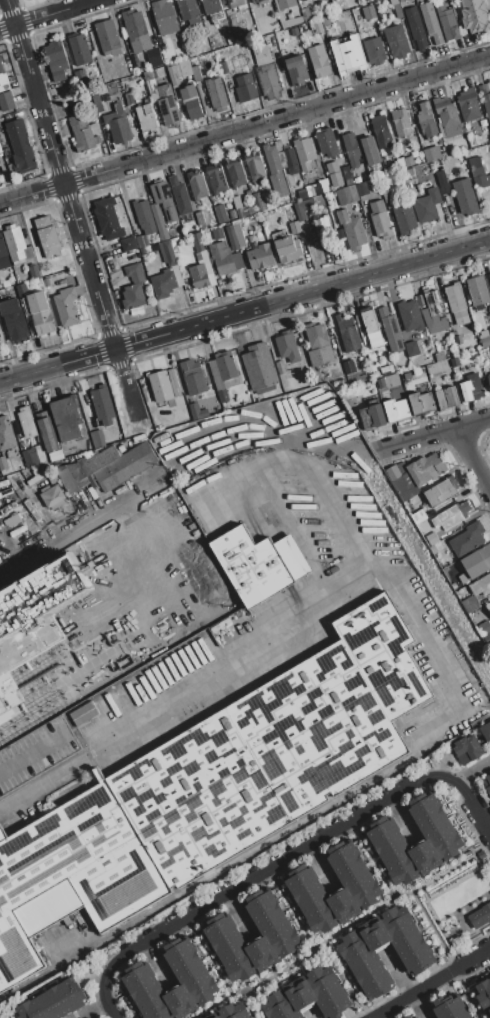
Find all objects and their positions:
building: (300, 0)
building: (304, 0)
building: (367, 0)
building: (402, 0)
building: (256, 1)
building: (393, 2)
building: (236, 3)
building: (286, 4)
building: (213, 9)
building: (188, 11)
building: (397, 11)
building: (368, 12)
building: (309, 15)
building: (475, 15)
road: (52, 16)
building: (166, 21)
building: (294, 21)
building: (430, 22)
building: (448, 23)
building: (312, 28)
building: (416, 28)
building: (136, 31)
building: (238, 36)
building: (108, 37)
building: (230, 40)
building: (397, 41)
building: (95, 43)
building: (80, 49)
building: (375, 50)
building: (262, 54)
building: (347, 55)
building: (155, 57)
building: (57, 60)
building: (318, 61)
building: (186, 65)
building: (223, 68)
building: (296, 70)
building: (196, 73)
building: (148, 75)
building: (173, 75)
building: (3, 76)
building: (269, 80)
building: (4, 87)
building: (245, 88)
building: (216, 93)
building: (485, 99)
building: (6, 101)
building: (191, 101)
building: (97, 103)
building: (168, 105)
building: (469, 105)
building: (446, 111)
building: (145, 118)
building: (426, 120)
building: (400, 122)
building: (118, 125)
road: (244, 130)
building: (381, 131)
building: (83, 132)
building: (327, 143)
building: (278, 145)
building: (21, 146)
building: (351, 148)
building: (370, 150)
building: (0, 151)
building: (6, 153)
building: (305, 153)
building: (431, 153)
building: (272, 159)
building: (291, 161)
building: (409, 161)
building: (255, 166)
building: (235, 172)
building: (478, 173)
building: (334, 174)
building: (217, 178)
building: (443, 184)
building: (197, 185)
building: (362, 188)
building: (346, 194)
building: (180, 195)
building: (465, 196)
building: (236, 202)
building: (427, 205)
road: (72, 208)
building: (300, 210)
building: (170, 212)
building: (221, 213)
building: (232, 214)
building: (144, 215)
building: (404, 217)
building: (108, 218)
building: (200, 218)
building: (380, 219)
building: (322, 226)
building: (294, 227)
building: (352, 229)
building: (239, 235)
building: (47, 236)
building: (197, 237)
building: (217, 237)
building: (231, 237)
building: (141, 241)
building: (128, 244)
building: (17, 245)
building: (287, 247)
building: (167, 252)
building: (3, 256)
building: (261, 256)
building: (224, 259)
building: (33, 272)
building: (199, 275)
building: (489, 276)
building: (163, 283)
building: (133, 287)
building: (22, 289)
building: (478, 292)
building: (455, 300)
building: (65, 306)
road: (244, 311)
building: (432, 311)
building: (41, 314)
building: (409, 315)
building: (13, 319)
building: (371, 327)
building: (390, 330)
building: (347, 332)
building: (1, 338)
building: (485, 338)
building: (457, 339)
building: (426, 342)
building: (319, 345)
building: (412, 348)
building: (290, 354)
building: (349, 366)
building: (259, 367)
building: (387, 370)
building: (224, 373)
building: (407, 375)
building: (193, 377)
building: (488, 380)
building: (342, 383)
building: (381, 383)
building: (371, 386)
building: (471, 387)
building: (399, 390)
building: (170, 393)
building: (447, 398)
building: (421, 403)
building: (102, 404)
building: (396, 410)
building: (197, 411)
building: (372, 416)
building: (66, 418)
building: (26, 422)
building: (6, 433)
road: (441, 434)
building: (49, 439)
building: (97, 439)
building: (33, 456)
road: (472, 458)
building: (106, 467)
building: (426, 469)
building: (37, 475)
building: (53, 478)
building: (402, 482)
building: (439, 493)
building: (52, 497)
building: (451, 515)
building: (418, 516)
road: (83, 524)
building: (130, 529)
building: (432, 539)
building: (467, 539)
building: (259, 564)
building: (475, 564)
building: (119, 576)
building: (454, 585)
building: (481, 586)
building: (488, 607)
building: (485, 631)
road: (262, 655)
building: (6, 662)
building: (84, 714)
building: (486, 731)
building: (467, 749)
building: (36, 753)
parking lot: (36, 753)
road: (473, 772)
road: (442, 773)
building: (487, 783)
building: (211, 788)
road: (478, 812)
building: (385, 837)
road: (372, 859)
road: (267, 869)
building: (303, 885)
road: (367, 914)
building: (480, 916)
building: (222, 933)
road: (319, 944)
road: (454, 955)
building: (359, 956)
road: (473, 956)
road: (217, 975)
building: (195, 981)
road: (104, 985)
road: (412, 992)
building: (484, 995)
building: (310, 996)
building: (54, 1002)
road: (207, 1005)
building: (450, 1008)
building: (233, 1011)
building: (408, 1017)

